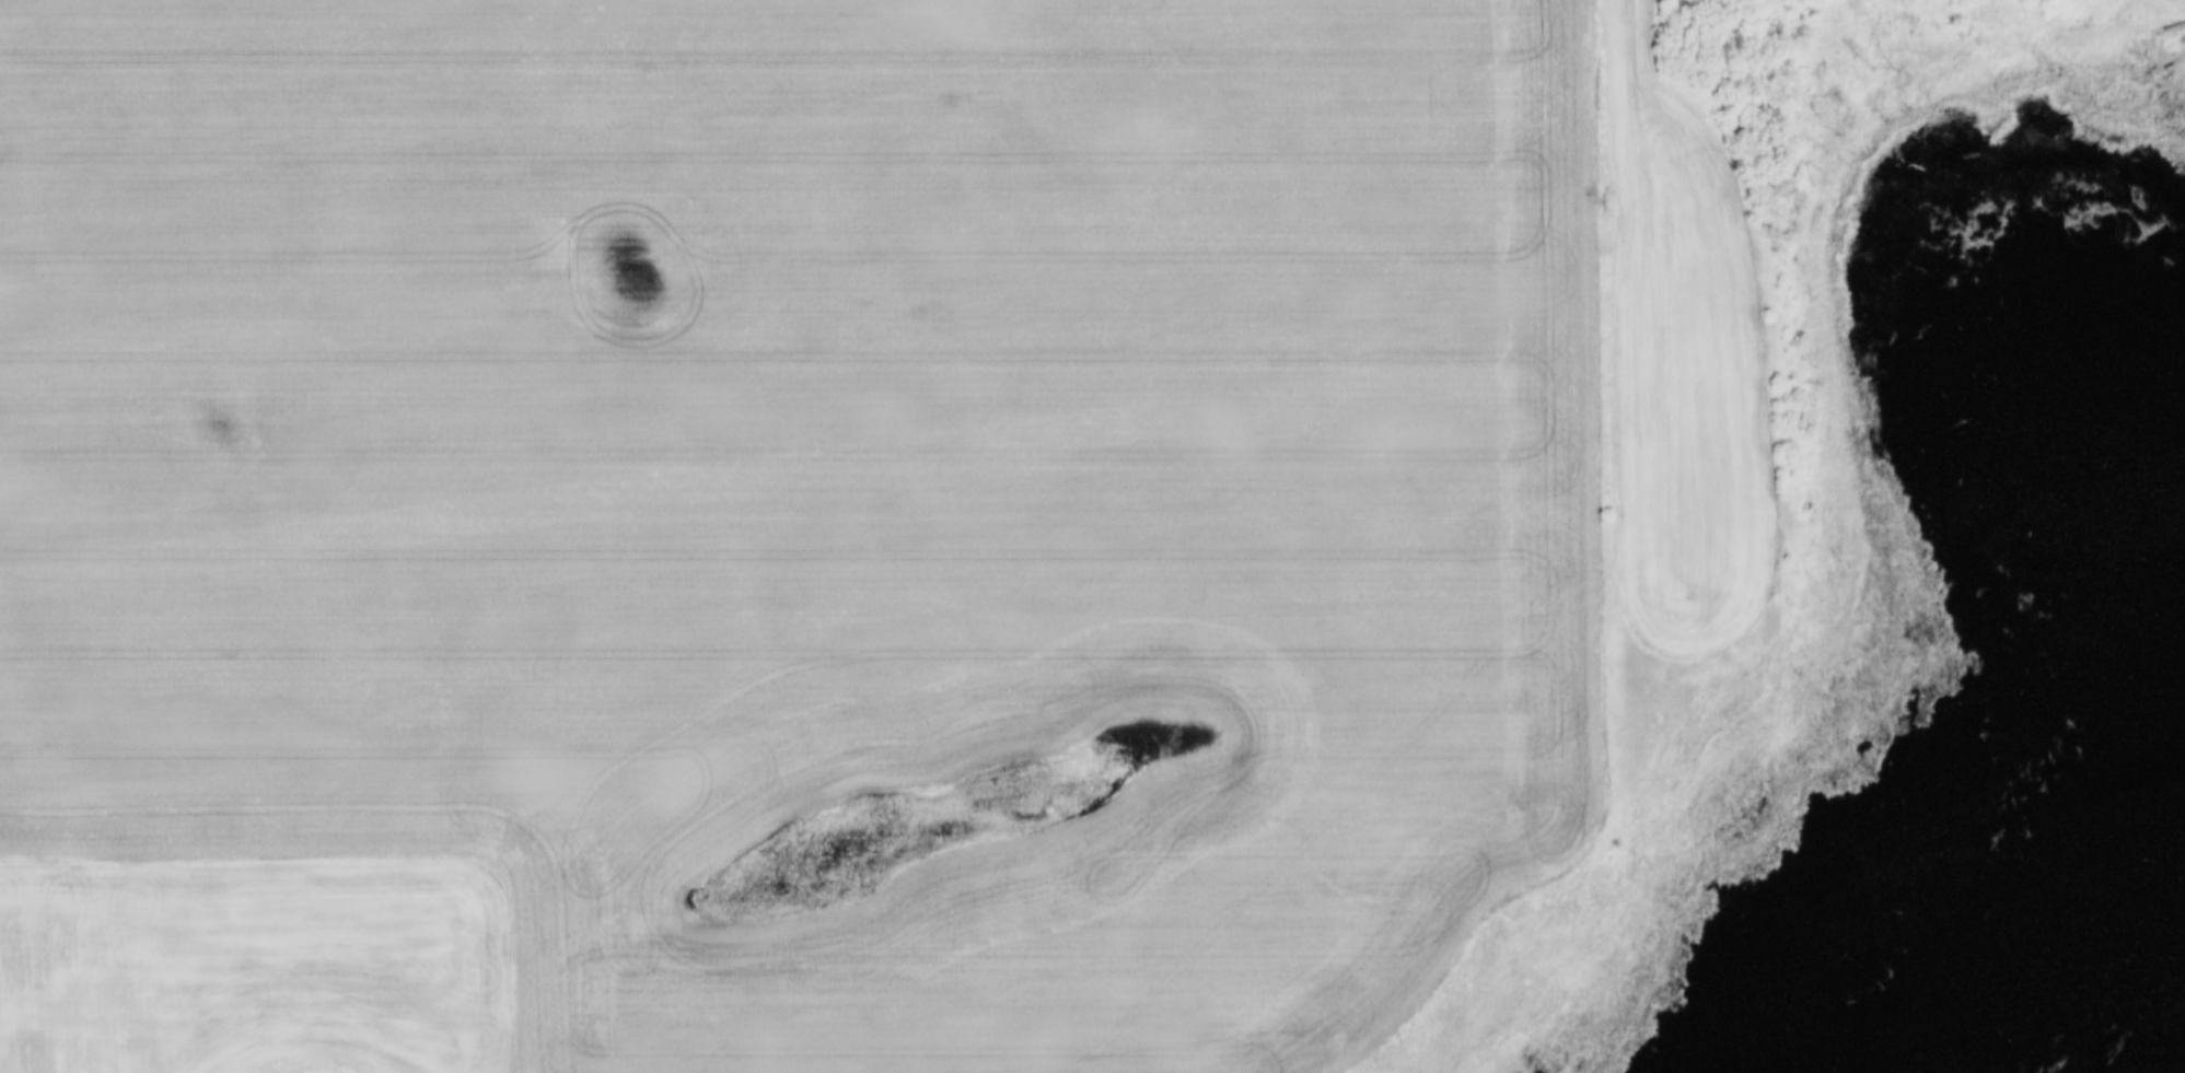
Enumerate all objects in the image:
building: (2159, 62)

